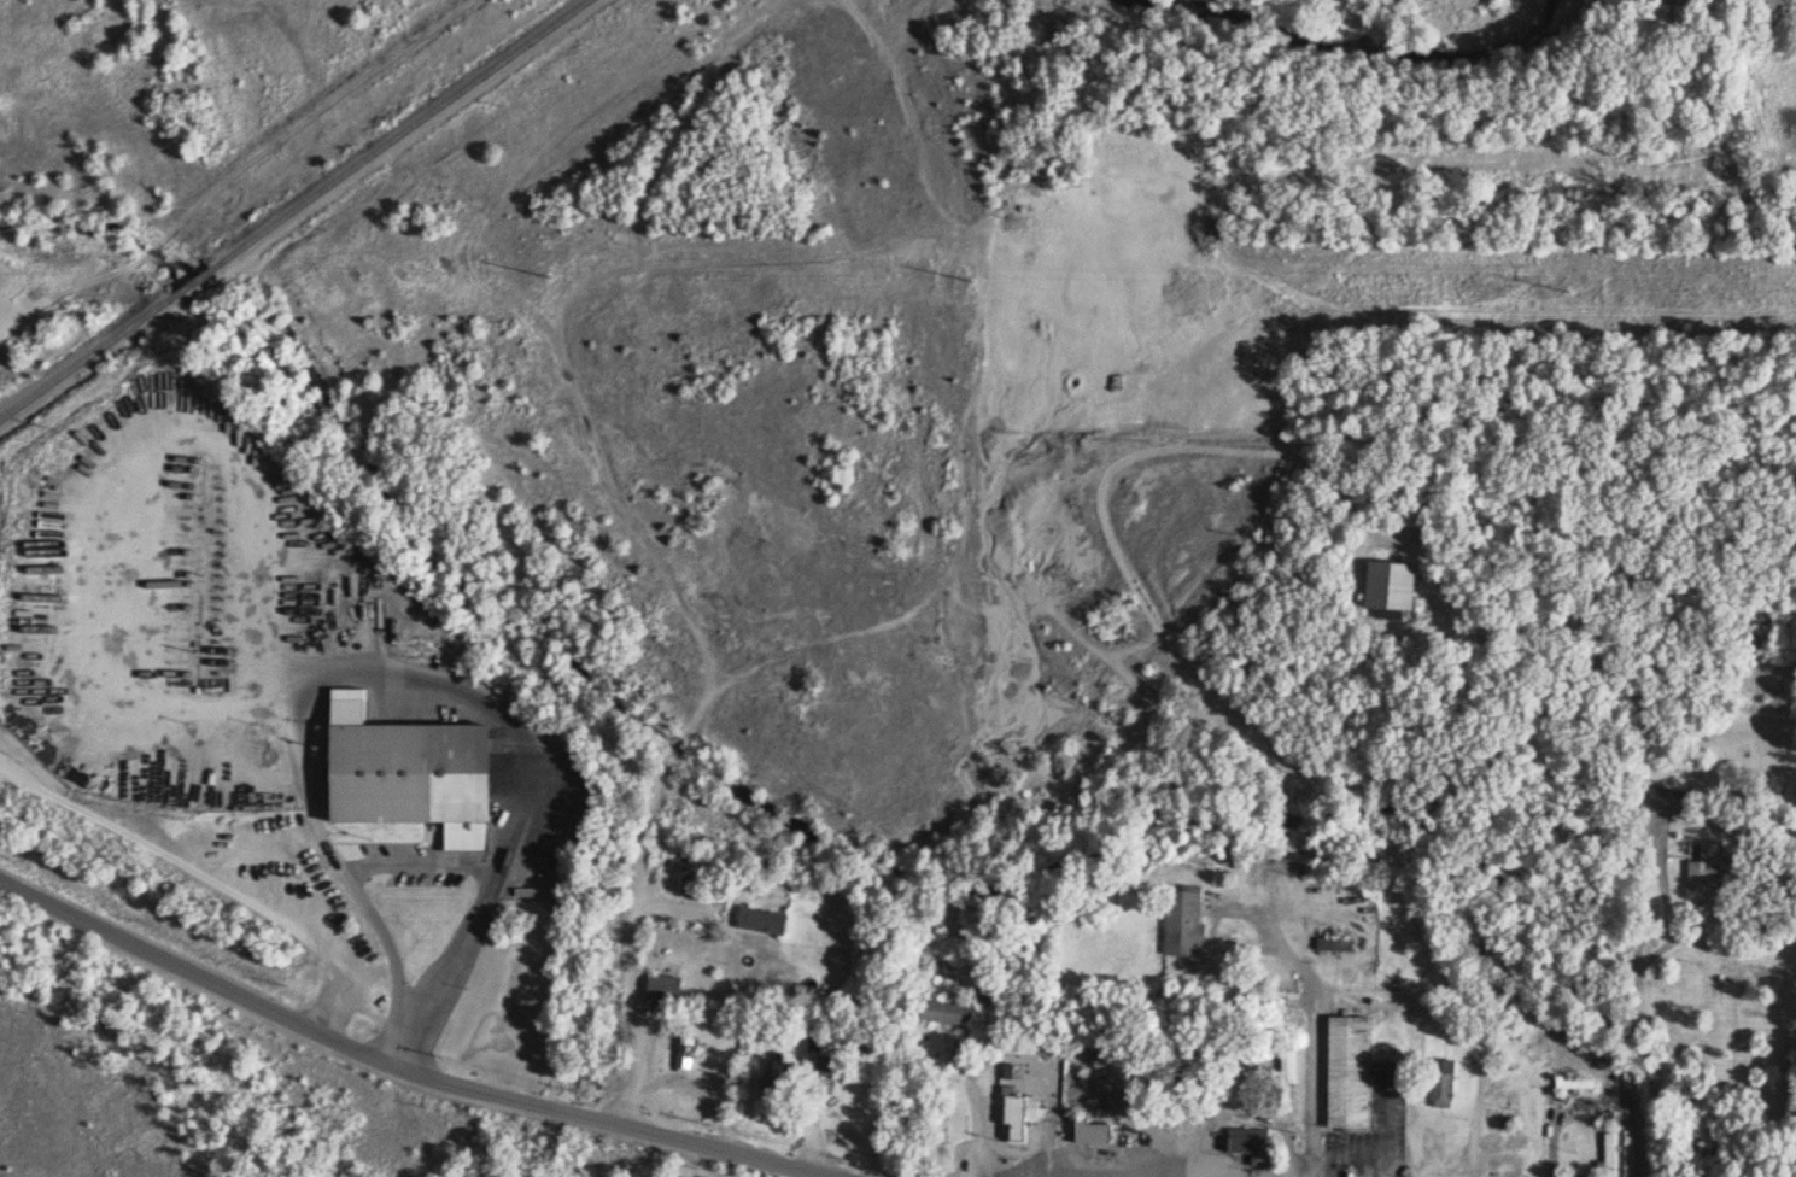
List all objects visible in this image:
river: (1363, 51)
road: (268, 133)
railway: (294, 209)
power tower: (490, 275)
road: (75, 277)
power tower: (961, 283)
road: (69, 289)
power tower: (1526, 293)
road: (110, 579)
building: (1393, 586)
parking lot: (198, 607)
road: (1218, 690)
road: (694, 734)
building: (413, 773)
building: (1668, 798)
parking lot: (429, 863)
building: (1713, 867)
road: (223, 880)
parking lot: (310, 890)
road: (674, 902)
building: (767, 919)
road: (1224, 921)
building: (1188, 923)
building: (1330, 941)
building: (672, 988)
road: (1643, 994)
building: (943, 1009)
building: (691, 1053)
road: (1327, 1056)
building: (1254, 1065)
building: (1295, 1065)
road: (405, 1068)
building: (1355, 1072)
building: (773, 1076)
building: (825, 1076)
building: (786, 1079)
building: (1447, 1081)
road: (696, 1083)
building: (1583, 1083)
building: (1288, 1097)
road: (1241, 1109)
building: (1023, 1111)
building: (1184, 1112)
building: (947, 1128)
building: (1096, 1130)
parking lot: (1385, 1132)
road: (988, 1134)
road: (1561, 1140)
building: (1257, 1143)
road: (819, 1144)
road: (1028, 1152)
building: (1607, 1153)
building: (1616, 1154)
road: (1443, 1155)
parking lot: (1158, 1164)
road: (827, 1175)

